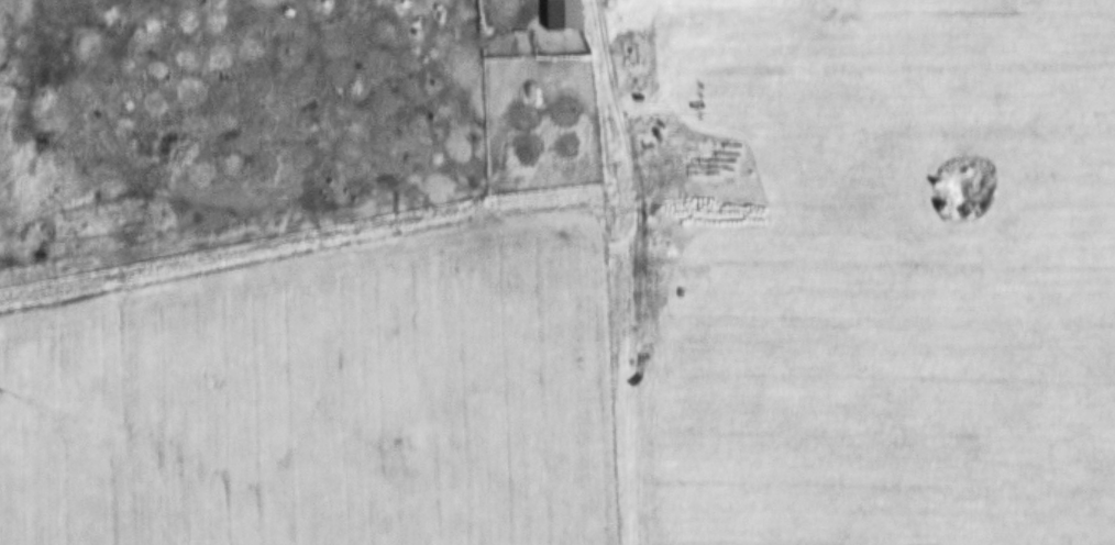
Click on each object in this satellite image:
building: (567, 15)
building: (634, 51)

